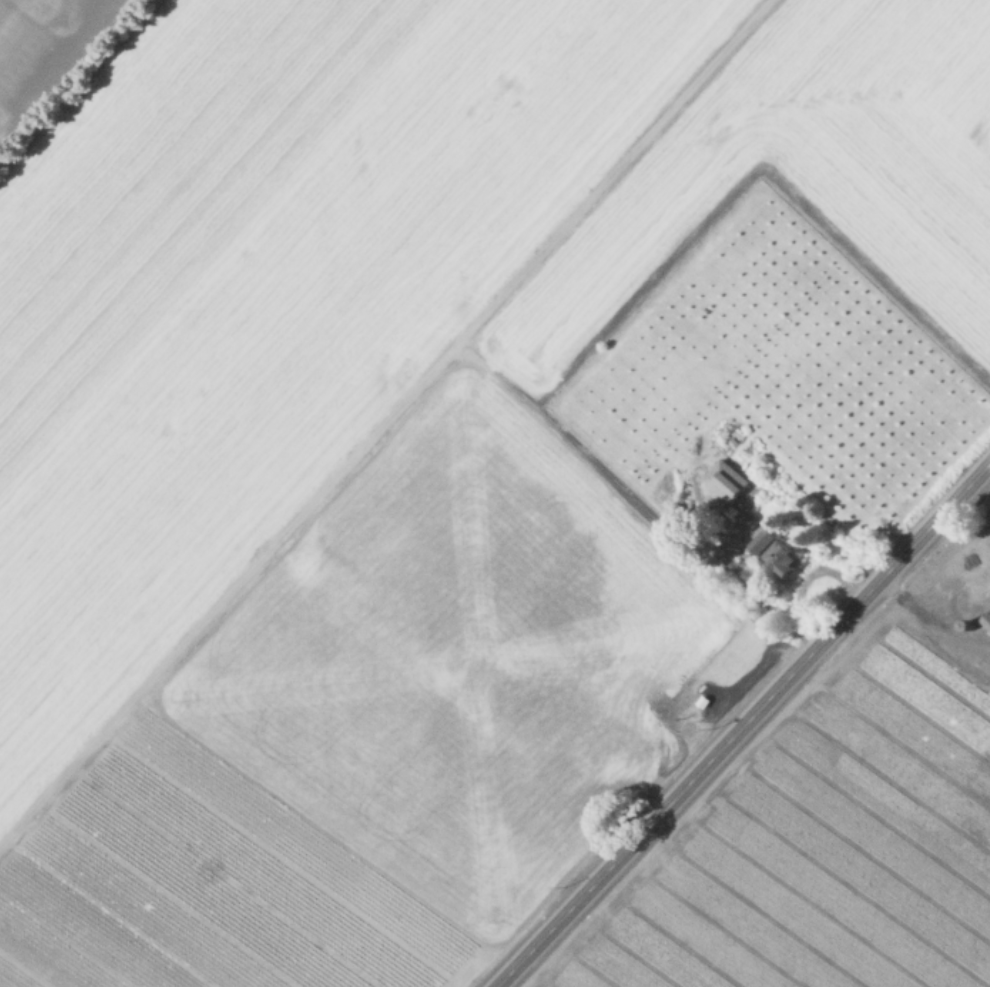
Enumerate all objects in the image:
road: (625, 307)
road: (496, 373)
road: (383, 420)
crop: (441, 441)
building: (730, 498)
building: (764, 542)
building: (786, 561)
building: (987, 620)
road: (743, 725)
crop: (842, 826)

